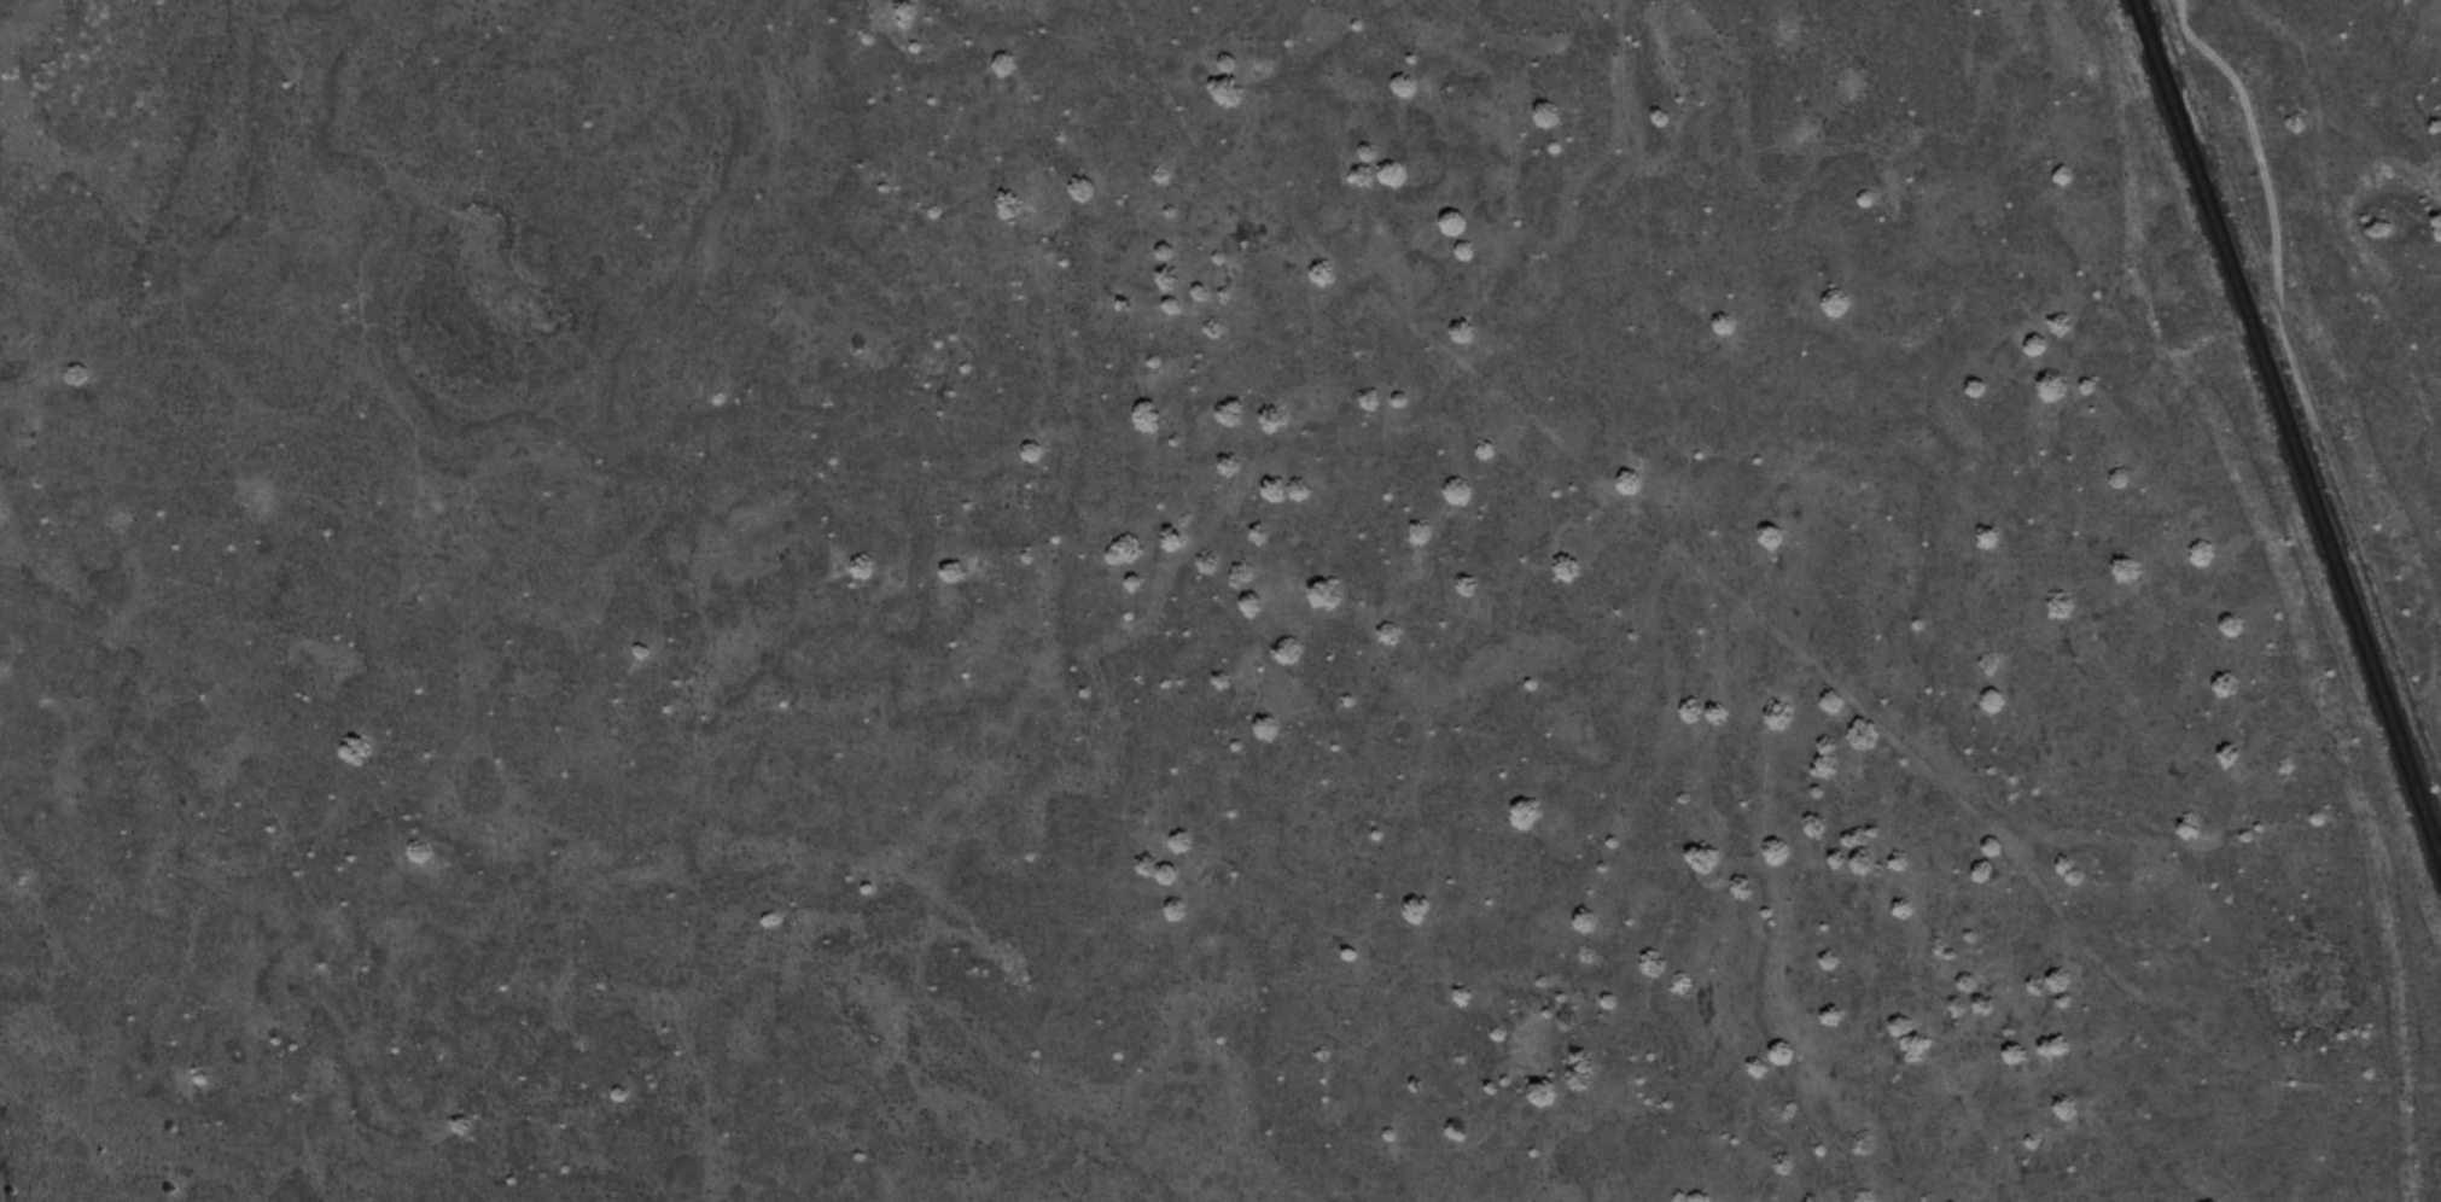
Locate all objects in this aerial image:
railway: (2286, 433)

